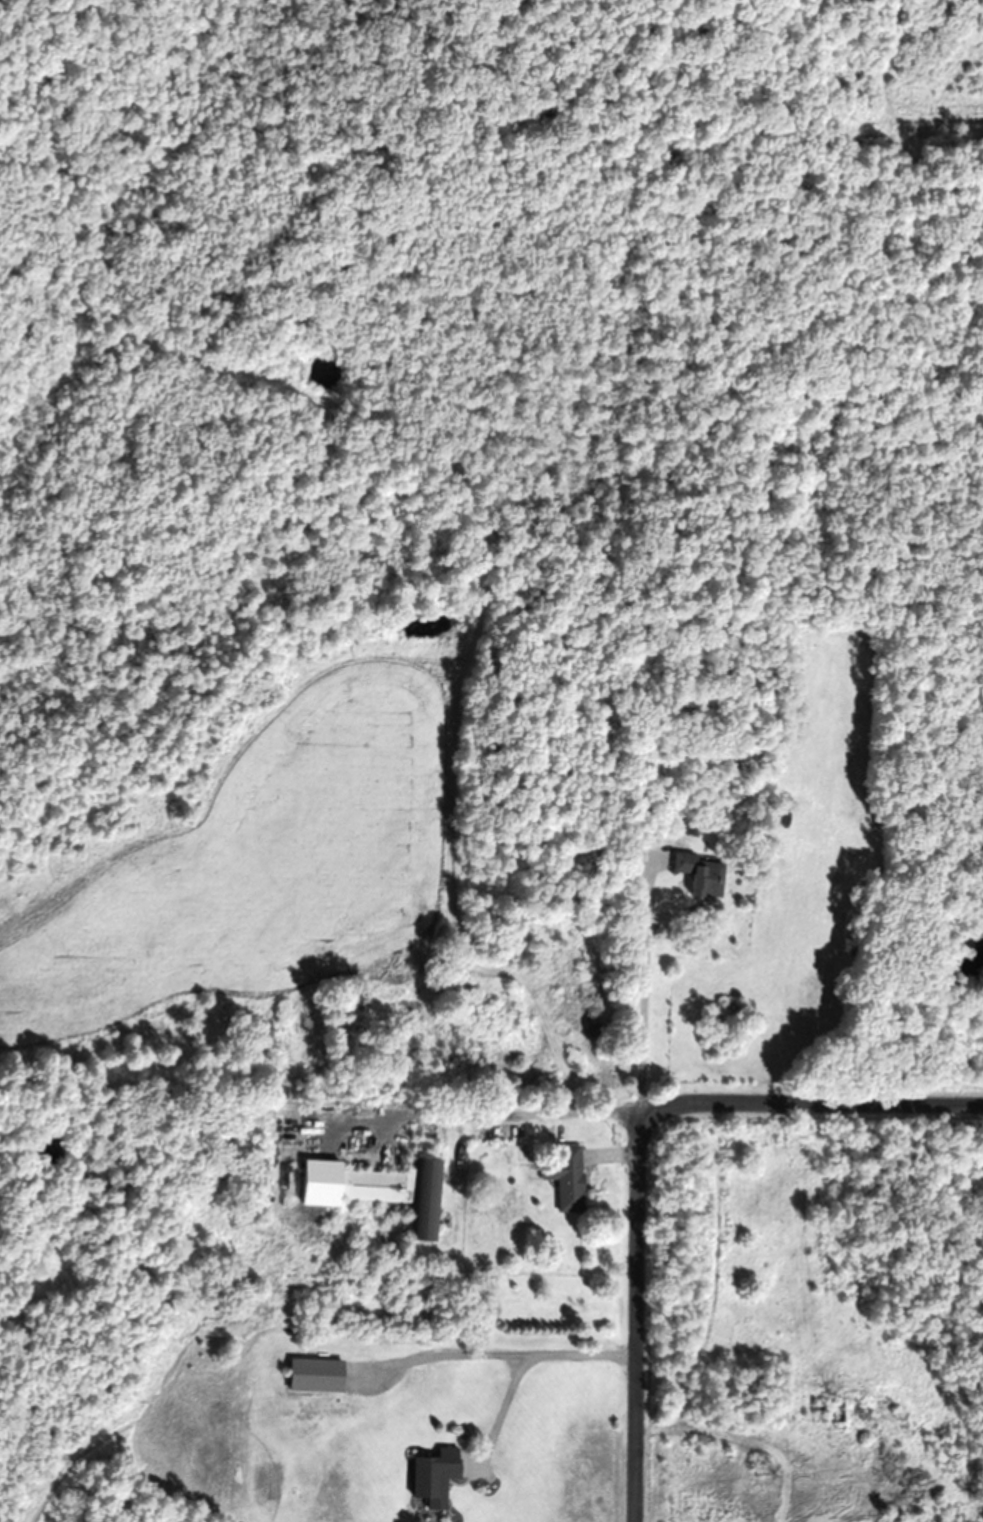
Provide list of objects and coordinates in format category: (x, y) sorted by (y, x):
building: (704, 874)
road: (637, 1148)
building: (569, 1178)
building: (382, 1190)
building: (320, 1375)
building: (837, 1410)
building: (438, 1476)

